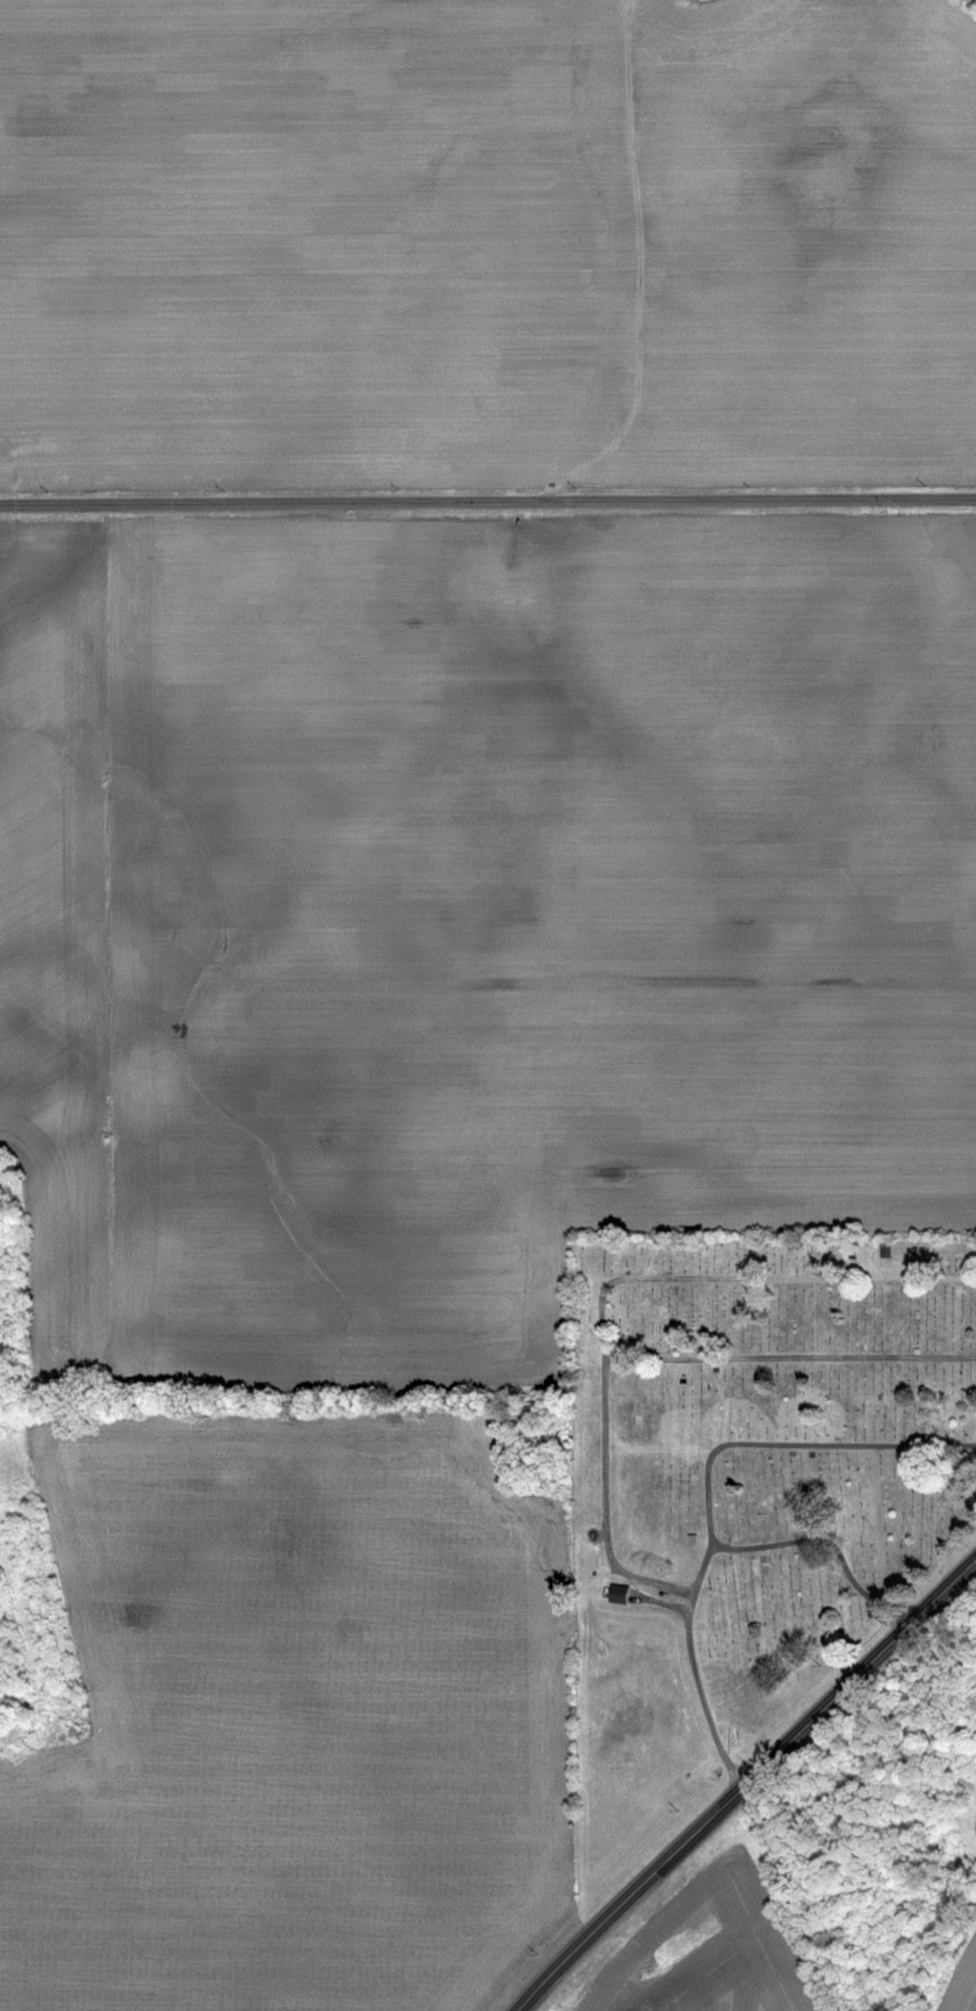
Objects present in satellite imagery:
crop: (324, 236)
road: (488, 497)
crop: (530, 788)
road: (602, 1314)
road: (609, 1425)
road: (708, 1487)
park: (748, 1494)
road: (826, 1534)
building: (614, 1593)
road: (743, 1777)

